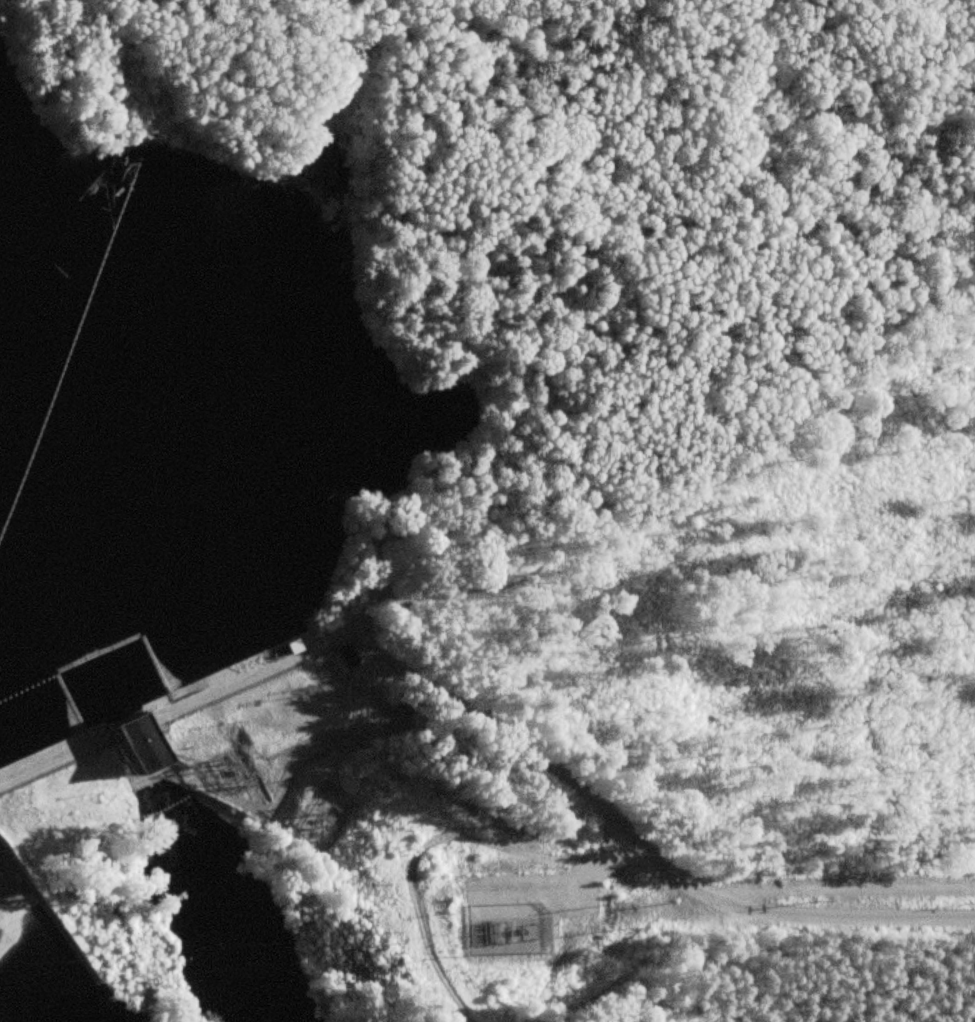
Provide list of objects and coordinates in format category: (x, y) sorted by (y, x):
building: (348, 655)
road: (280, 662)
dam: (153, 699)
road: (368, 733)
building: (138, 743)
power substation: (230, 772)
road: (636, 844)
road: (422, 851)
river: (212, 895)
road: (566, 900)
power substation: (505, 932)
river: (26, 986)

